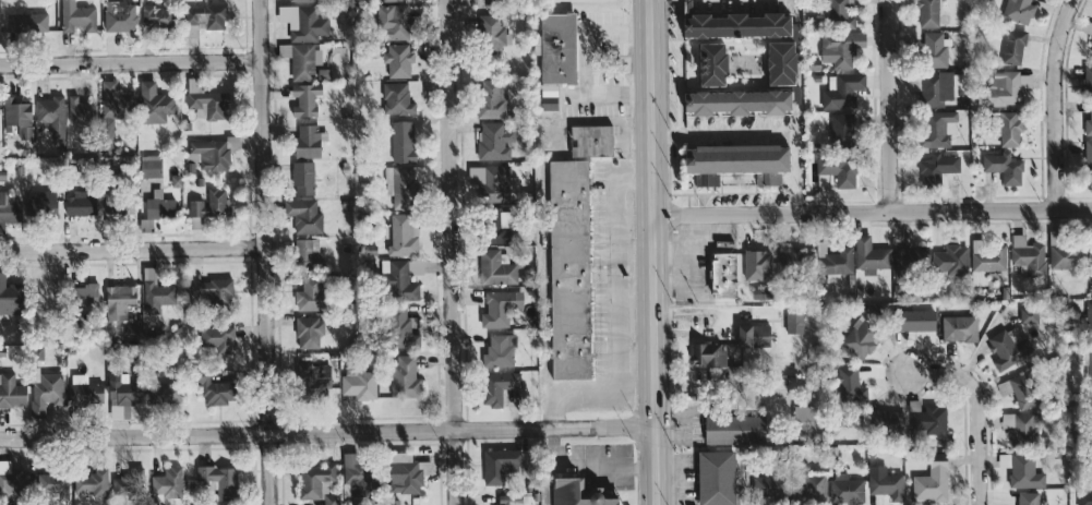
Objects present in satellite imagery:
building: (301, 0)
building: (395, 0)
building: (491, 1)
building: (1019, 11)
building: (929, 13)
building: (841, 15)
building: (157, 16)
building: (76, 17)
building: (120, 17)
building: (204, 19)
building: (394, 22)
building: (303, 23)
building: (27, 24)
building: (740, 26)
building: (1088, 28)
road: (585, 29)
building: (491, 34)
building: (1015, 47)
building: (560, 49)
building: (841, 49)
building: (935, 50)
building: (1091, 51)
building: (302, 60)
building: (398, 60)
road: (130, 62)
building: (784, 63)
building: (716, 64)
road: (679, 67)
building: (1089, 81)
building: (1009, 87)
building: (940, 89)
building: (842, 92)
road: (593, 94)
building: (399, 98)
building: (305, 99)
building: (493, 99)
building: (116, 103)
building: (206, 103)
building: (550, 103)
building: (740, 103)
road: (1054, 103)
building: (155, 104)
road: (888, 106)
building: (81, 111)
building: (17, 119)
building: (52, 120)
building: (1089, 124)
building: (996, 127)
building: (844, 128)
building: (1011, 130)
building: (937, 132)
road: (763, 134)
building: (495, 141)
building: (592, 141)
building: (310, 142)
building: (404, 143)
building: (212, 155)
building: (1089, 157)
building: (741, 163)
building: (151, 166)
building: (938, 168)
building: (1005, 168)
building: (840, 170)
building: (303, 179)
building: (176, 181)
building: (495, 184)
building: (80, 204)
building: (44, 206)
building: (159, 207)
building: (121, 208)
building: (8, 211)
road: (873, 212)
building: (305, 216)
building: (501, 236)
building: (404, 238)
road: (132, 250)
road: (264, 252)
road: (449, 252)
road: (653, 252)
building: (309, 255)
building: (872, 256)
building: (1067, 256)
building: (987, 257)
building: (1029, 257)
building: (790, 258)
building: (835, 260)
building: (952, 261)
building: (911, 262)
building: (757, 264)
building: (497, 268)
building: (572, 269)
building: (727, 276)
building: (980, 278)
building: (403, 282)
building: (156, 292)
building: (212, 292)
building: (87, 293)
building: (1091, 293)
building: (311, 294)
building: (9, 297)
building: (120, 301)
building: (501, 309)
road: (616, 313)
building: (1030, 315)
building: (1090, 320)
building: (920, 321)
building: (795, 324)
building: (960, 328)
building: (405, 330)
building: (310, 333)
building: (756, 336)
building: (217, 339)
building: (861, 339)
building: (500, 351)
building: (1007, 351)
building: (709, 354)
building: (1089, 363)
building: (406, 377)
building: (313, 380)
building: (361, 384)
building: (851, 385)
building: (212, 387)
building: (502, 387)
building: (1022, 390)
building: (12, 392)
building: (85, 392)
building: (170, 395)
building: (123, 396)
road: (977, 408)
building: (808, 421)
building: (887, 421)
building: (927, 421)
building: (1021, 429)
building: (737, 430)
road: (328, 435)
building: (502, 466)
road: (588, 466)
building: (1023, 470)
building: (358, 476)
building: (719, 478)
building: (406, 479)
building: (315, 480)
building: (934, 481)
building: (15, 482)
building: (219, 482)
building: (50, 483)
building: (93, 483)
building: (168, 483)
building: (886, 483)
building: (122, 485)
building: (769, 486)
building: (812, 488)
building: (847, 489)
building: (580, 494)
building: (1085, 497)
building: (1029, 498)

